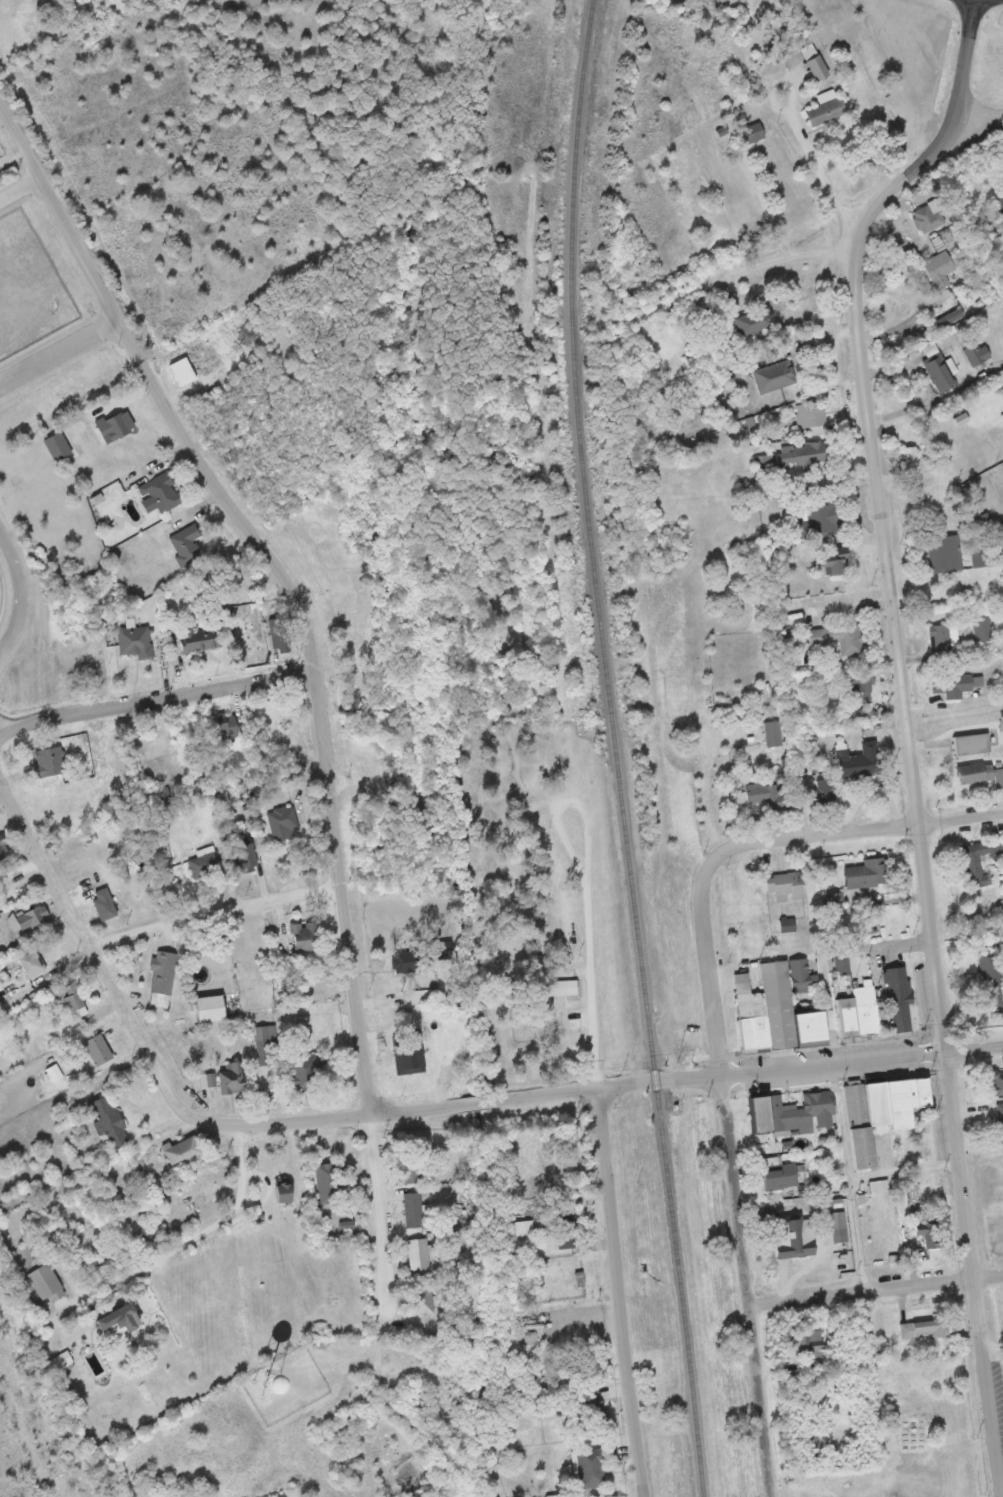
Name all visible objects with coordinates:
building: (6, 8)
building: (816, 66)
building: (825, 108)
road: (980, 111)
building: (752, 133)
road: (809, 133)
road: (21, 190)
building: (1000, 204)
building: (928, 217)
road: (792, 254)
building: (938, 265)
building: (753, 322)
road: (58, 352)
building: (975, 352)
building: (776, 353)
building: (940, 373)
building: (773, 376)
building: (1002, 399)
building: (814, 417)
building: (115, 424)
building: (801, 453)
building: (910, 457)
building: (164, 492)
road: (881, 508)
building: (825, 517)
building: (186, 543)
building: (944, 553)
building: (833, 563)
road: (283, 575)
building: (352, 575)
road: (22, 594)
building: (983, 630)
building: (199, 637)
building: (940, 637)
building: (837, 638)
building: (134, 639)
building: (282, 640)
building: (951, 684)
building: (858, 687)
road: (157, 701)
building: (856, 713)
building: (227, 727)
building: (773, 733)
building: (971, 743)
railway: (615, 749)
building: (165, 752)
building: (50, 760)
building: (860, 762)
building: (979, 773)
building: (821, 791)
building: (768, 795)
building: (283, 822)
road: (844, 832)
building: (3, 849)
building: (245, 856)
building: (979, 861)
building: (206, 863)
building: (869, 872)
building: (784, 885)
road: (587, 888)
building: (104, 903)
road: (217, 912)
building: (35, 919)
building: (306, 936)
building: (406, 961)
building: (31, 963)
road: (107, 971)
building: (990, 978)
building: (162, 979)
road: (710, 979)
building: (562, 987)
building: (0, 1003)
building: (209, 1008)
building: (776, 1008)
building: (857, 1012)
building: (901, 1017)
building: (267, 1045)
building: (98, 1049)
building: (408, 1055)
road: (801, 1070)
building: (304, 1073)
building: (231, 1077)
building: (207, 1080)
building: (997, 1081)
road: (420, 1111)
building: (879, 1111)
building: (758, 1113)
building: (801, 1113)
building: (108, 1120)
building: (1000, 1122)
building: (183, 1150)
building: (555, 1165)
building: (409, 1168)
road: (903, 1171)
building: (328, 1177)
building: (779, 1177)
road: (847, 1178)
building: (282, 1191)
building: (413, 1210)
building: (531, 1227)
building: (836, 1227)
building: (566, 1231)
building: (927, 1233)
road: (199, 1240)
road: (380, 1250)
building: (418, 1254)
road: (972, 1262)
building: (46, 1282)
road: (746, 1287)
road: (875, 1289)
road: (621, 1293)
building: (422, 1300)
building: (119, 1318)
building: (926, 1326)
building: (803, 1340)
building: (590, 1349)
building: (59, 1363)
water tower: (279, 1393)
building: (593, 1408)
building: (340, 1432)
building: (591, 1467)
building: (463, 1494)

